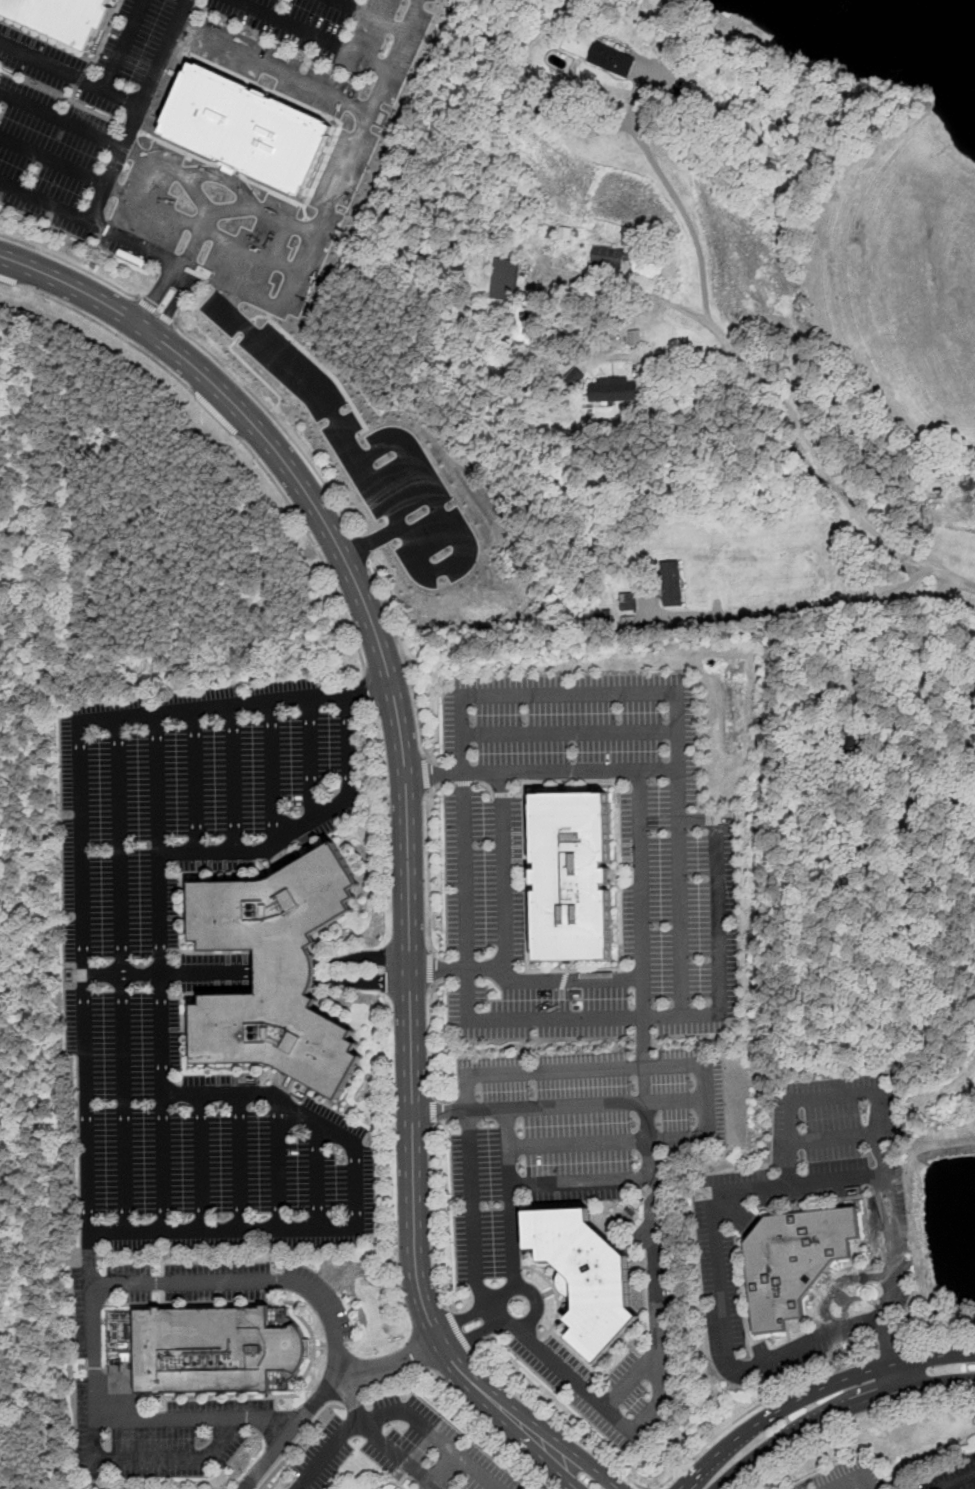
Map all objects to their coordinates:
road: (370, 15)
building: (63, 18)
road: (314, 33)
road: (120, 44)
parking lot: (279, 45)
building: (613, 58)
road: (273, 66)
road: (69, 73)
road: (137, 110)
road: (61, 116)
building: (253, 129)
parking lot: (64, 132)
road: (52, 160)
road: (174, 170)
road: (225, 176)
road: (672, 193)
road: (44, 201)
road: (236, 208)
parking lot: (232, 221)
road: (200, 227)
road: (307, 250)
building: (609, 256)
road: (69, 262)
building: (505, 279)
road: (11, 281)
road: (154, 291)
road: (654, 298)
road: (175, 302)
road: (155, 310)
road: (111, 331)
building: (634, 337)
road: (675, 358)
building: (573, 377)
building: (615, 388)
road: (214, 414)
parking lot: (368, 455)
road: (828, 469)
road: (386, 502)
road: (344, 515)
road: (370, 538)
road: (315, 546)
building: (673, 583)
building: (628, 601)
road: (795, 608)
road: (368, 680)
building: (974, 687)
road: (922, 703)
parking lot: (571, 727)
road: (570, 733)
road: (309, 755)
road: (657, 768)
road: (272, 770)
road: (427, 775)
road: (234, 776)
road: (197, 778)
road: (678, 781)
road: (306, 823)
road: (406, 824)
road: (429, 857)
road: (505, 869)
parking lot: (484, 870)
building: (572, 876)
road: (680, 915)
parking lot: (635, 937)
parking lot: (194, 965)
road: (431, 968)
building: (276, 970)
road: (122, 973)
road: (580, 979)
road: (642, 1022)
road: (432, 1040)
road: (491, 1072)
road: (250, 1093)
road: (675, 1099)
road: (433, 1110)
road: (88, 1136)
road: (833, 1136)
road: (789, 1153)
road: (239, 1161)
road: (163, 1162)
road: (206, 1162)
road: (279, 1165)
road: (317, 1176)
road: (836, 1178)
road: (579, 1180)
parking lot: (791, 1185)
parking lot: (583, 1194)
road: (435, 1219)
parking lot: (891, 1222)
building: (797, 1258)
building: (586, 1276)
road: (654, 1279)
road: (841, 1282)
parking lot: (234, 1288)
road: (315, 1294)
parking lot: (898, 1300)
road: (536, 1306)
road: (458, 1333)
road: (945, 1340)
building: (218, 1348)
parking lot: (801, 1348)
road: (896, 1349)
road: (630, 1379)
road: (824, 1398)
road: (753, 1408)
road: (168, 1417)
road: (559, 1424)
parking lot: (157, 1432)
road: (434, 1435)
road: (297, 1439)
parking lot: (427, 1448)
parking lot: (329, 1450)
road: (398, 1455)
road: (266, 1459)
road: (441, 1470)
parking lot: (948, 1476)
parking lot: (848, 1477)
road: (854, 1478)
road: (957, 1480)

